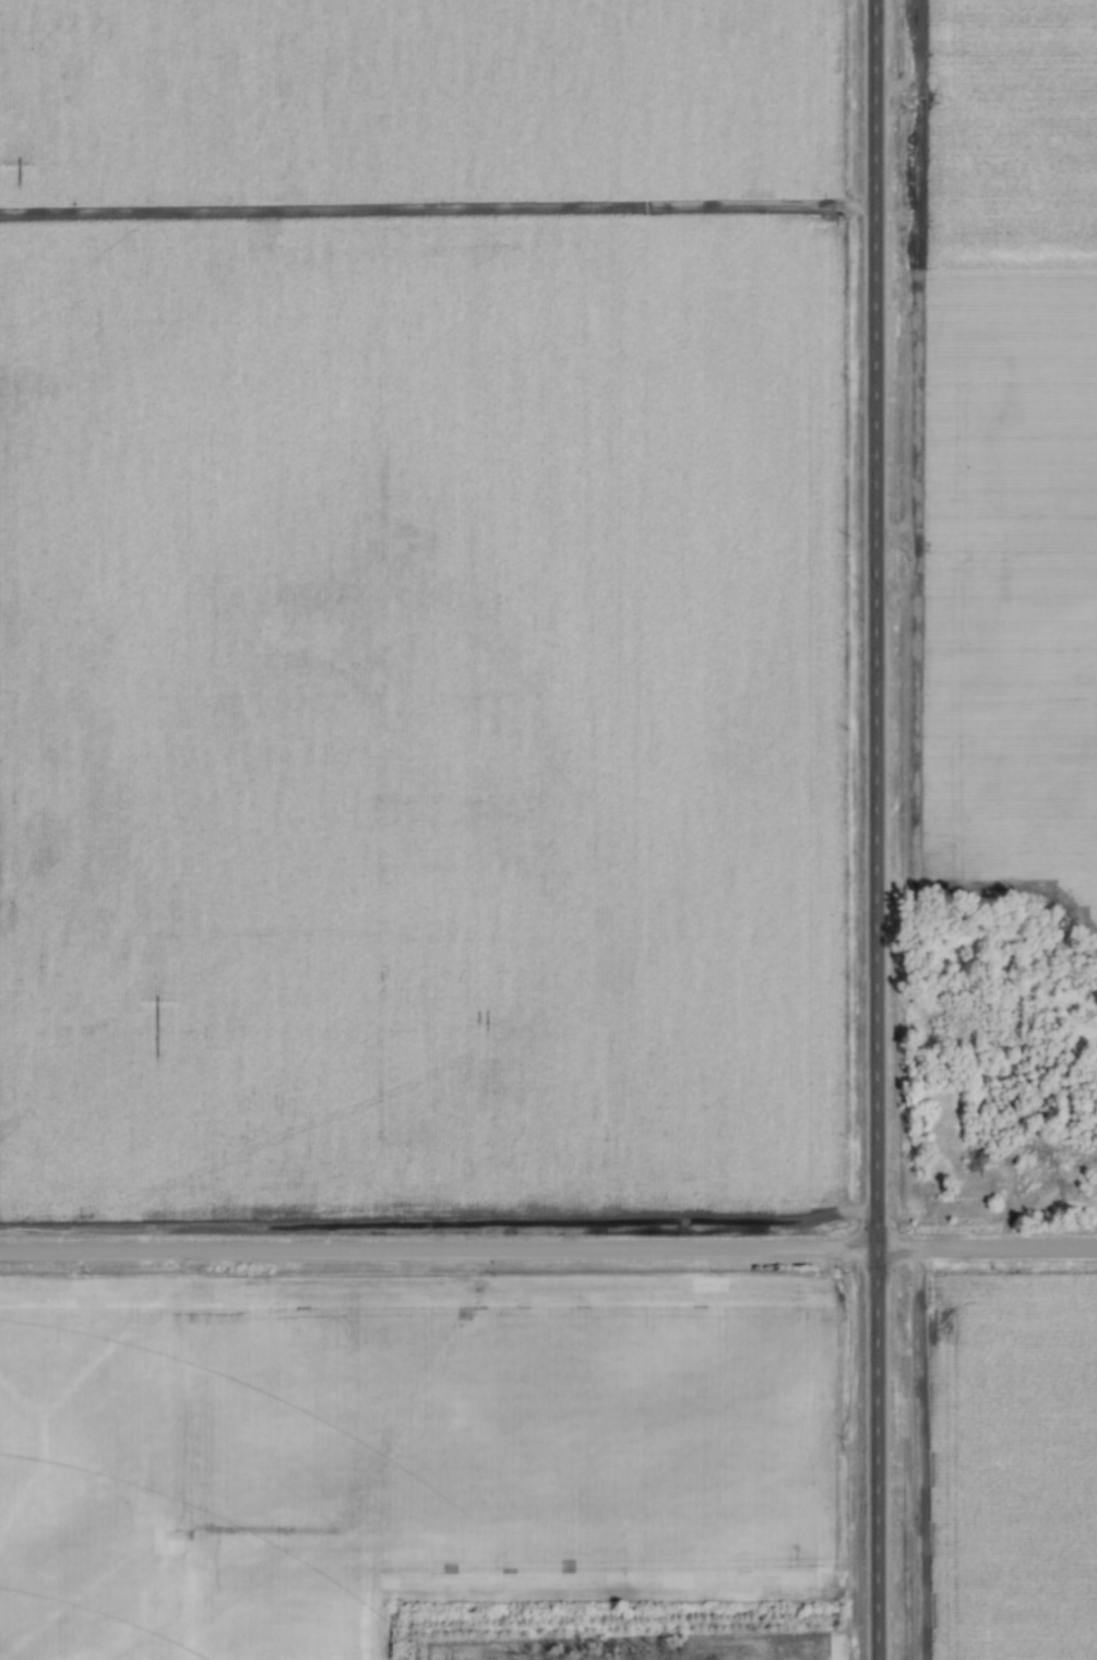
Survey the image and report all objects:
crop: (421, 96)
crop: (1006, 441)
crop: (419, 710)
road: (878, 829)
crop: (997, 1060)
road: (548, 1252)

